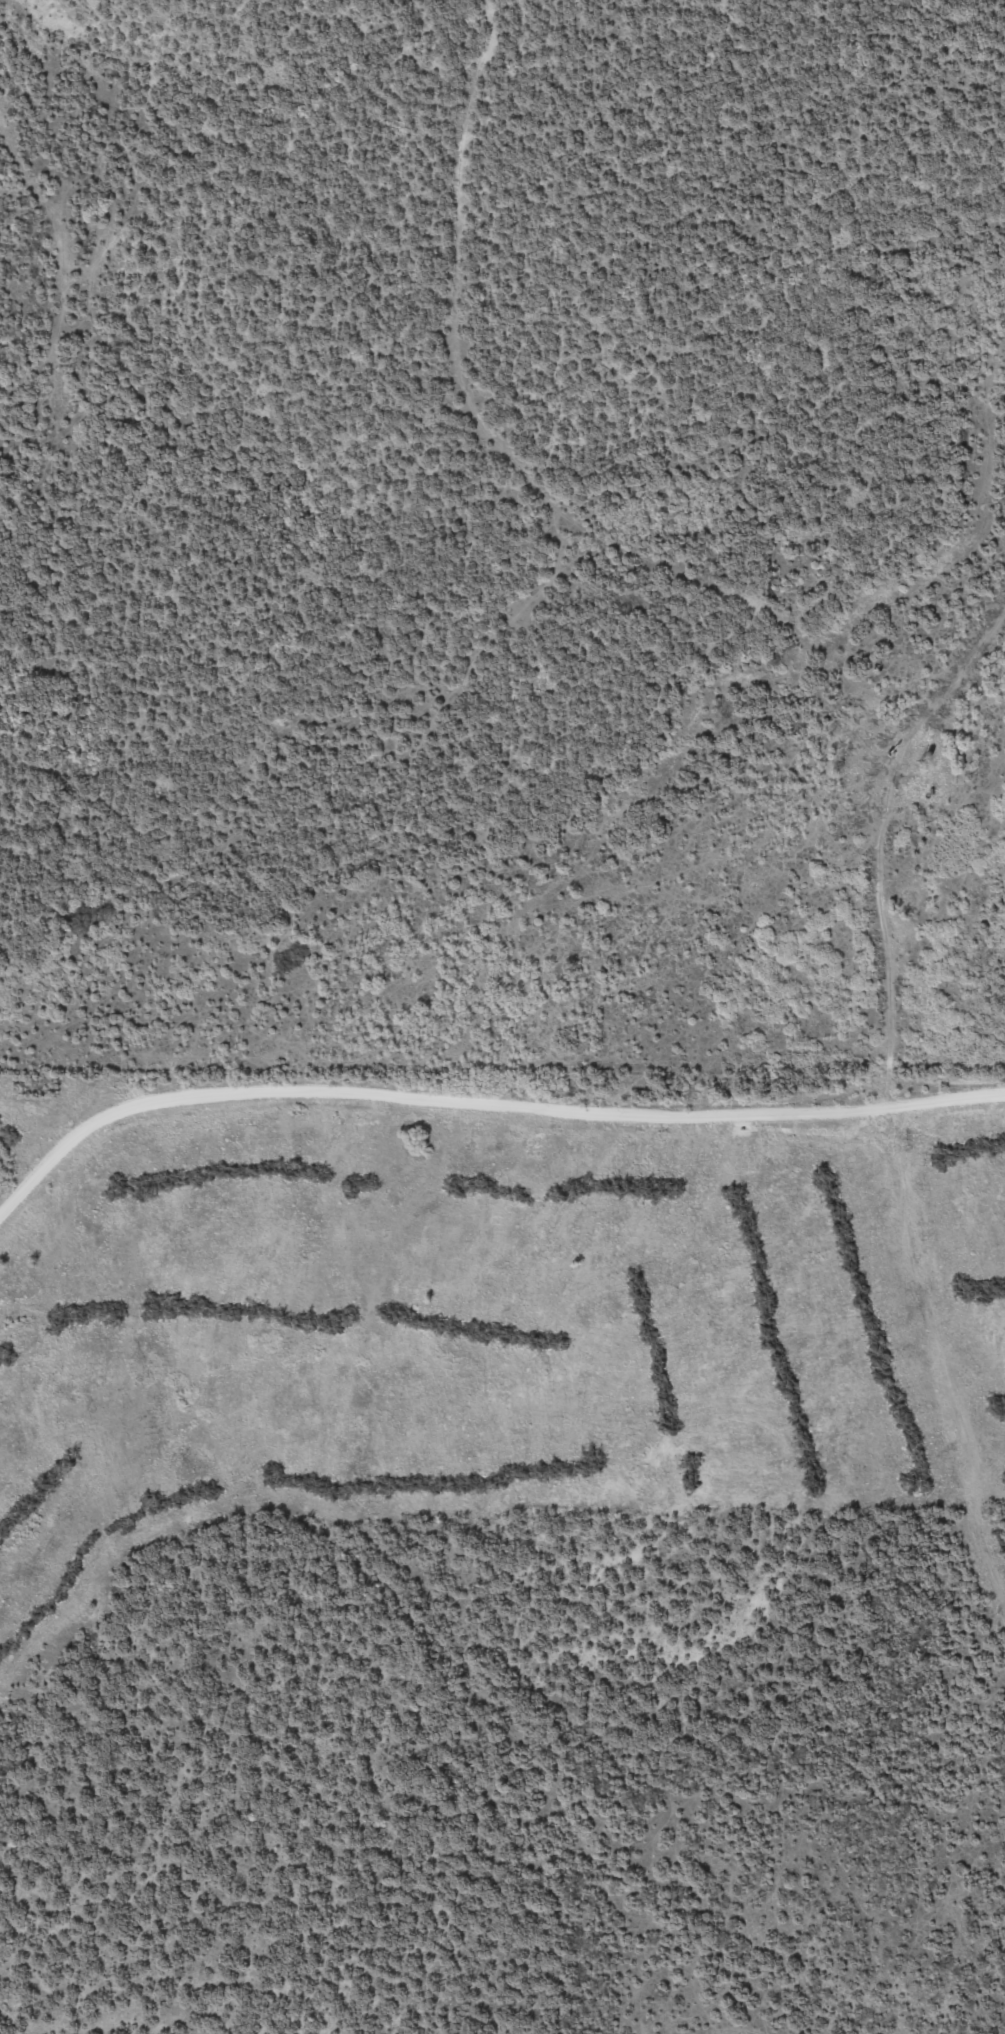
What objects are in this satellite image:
road: (897, 1034)

